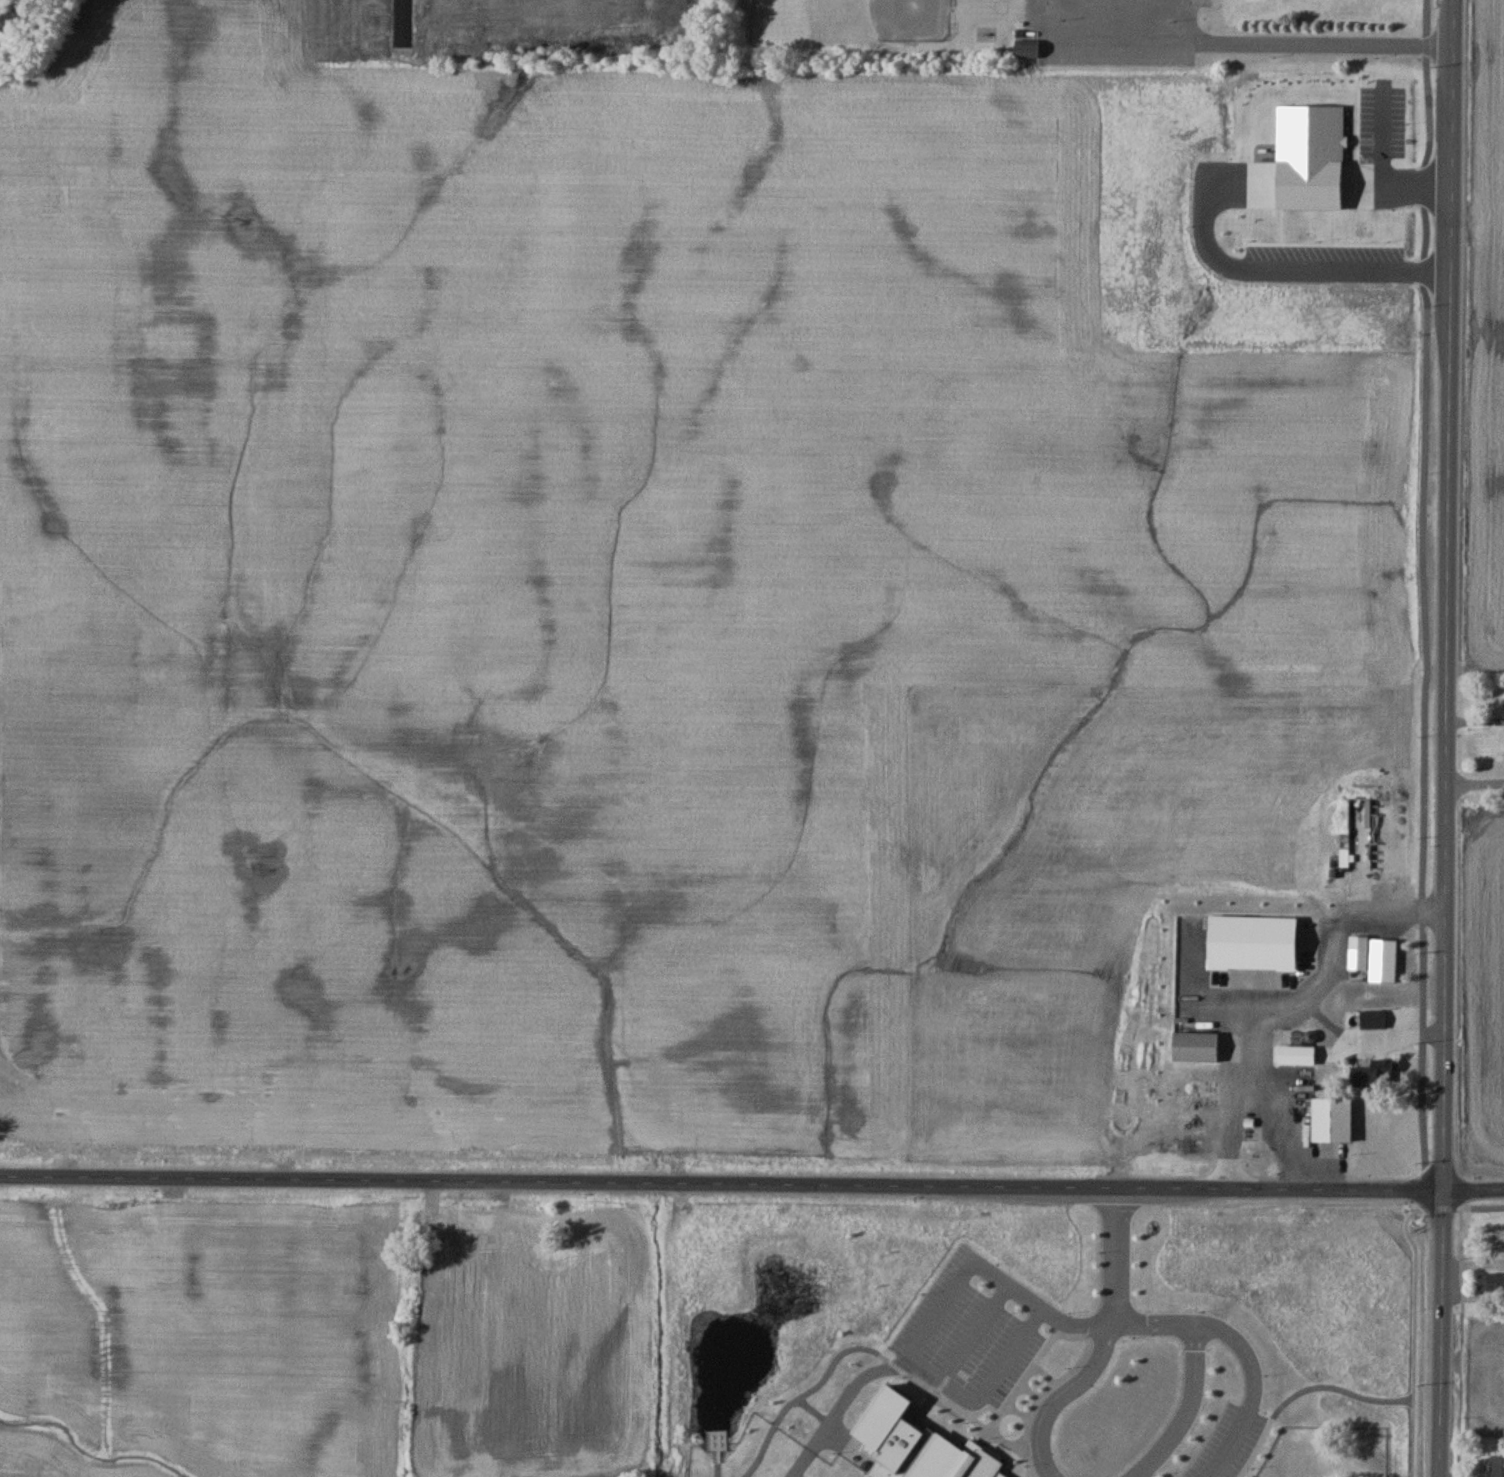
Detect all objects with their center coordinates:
road: (1187, 20)
road: (1225, 40)
building: (1027, 50)
road: (1383, 178)
road: (1280, 271)
road: (1427, 602)
road: (1476, 704)
road: (1448, 738)
road: (1476, 767)
building: (1296, 964)
road: (1291, 1007)
building: (1374, 1019)
building: (1196, 1047)
building: (1261, 1049)
building: (1298, 1055)
building: (1374, 1073)
building: (1287, 1078)
building: (1333, 1119)
road: (751, 1182)
road: (1461, 1203)
road: (1113, 1254)
building: (1491, 1281)
road: (940, 1308)
road: (1040, 1312)
road: (1106, 1320)
road: (976, 1333)
road: (1414, 1337)
road: (1007, 1357)
road: (938, 1377)
road: (1066, 1396)
road: (1186, 1407)
road: (1249, 1421)
building: (1497, 1466)

